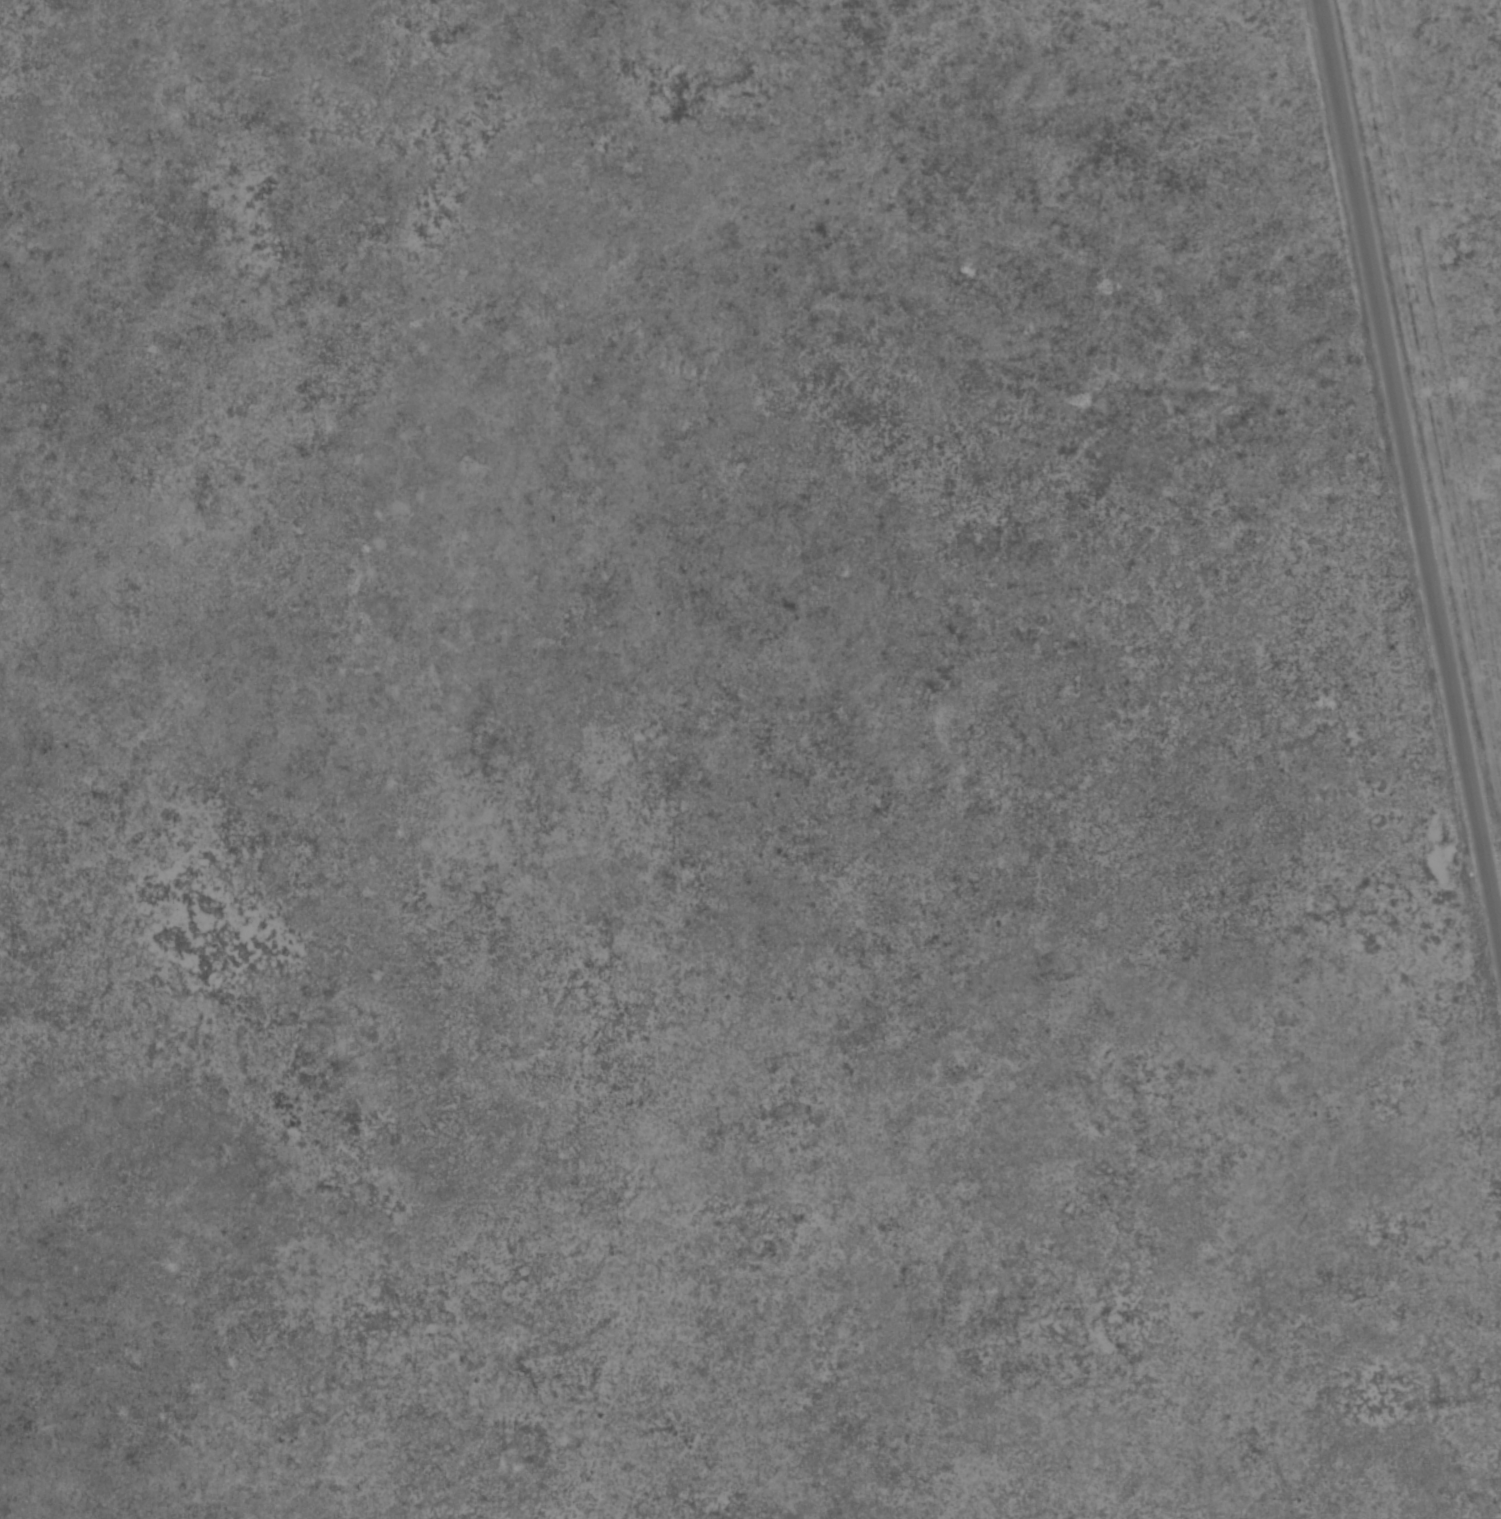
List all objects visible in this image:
road: (1412, 477)

